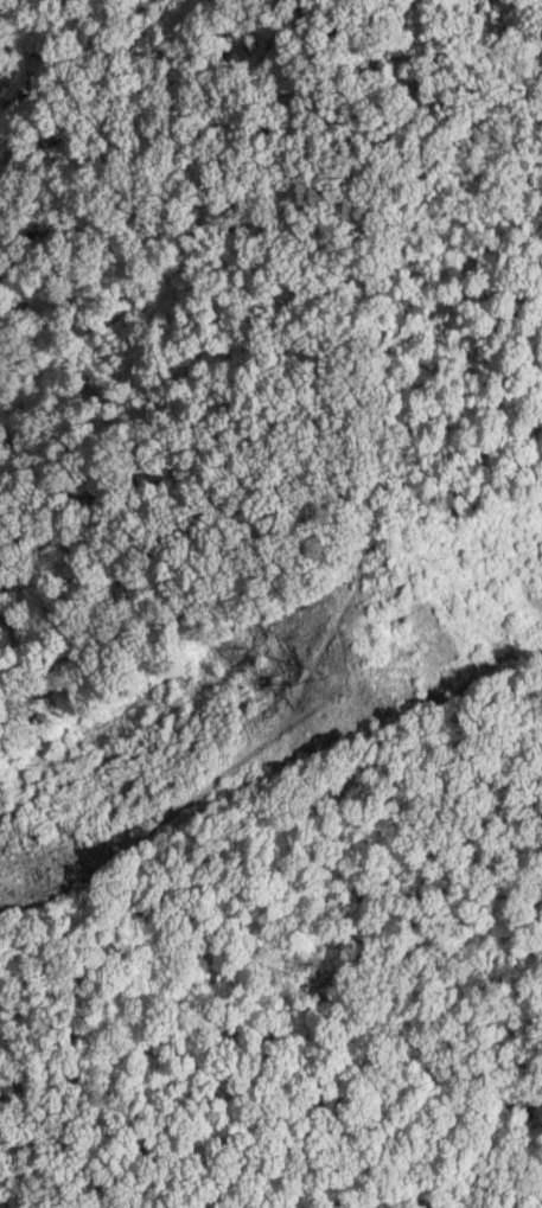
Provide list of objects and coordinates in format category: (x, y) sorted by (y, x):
power tower: (325, 669)

